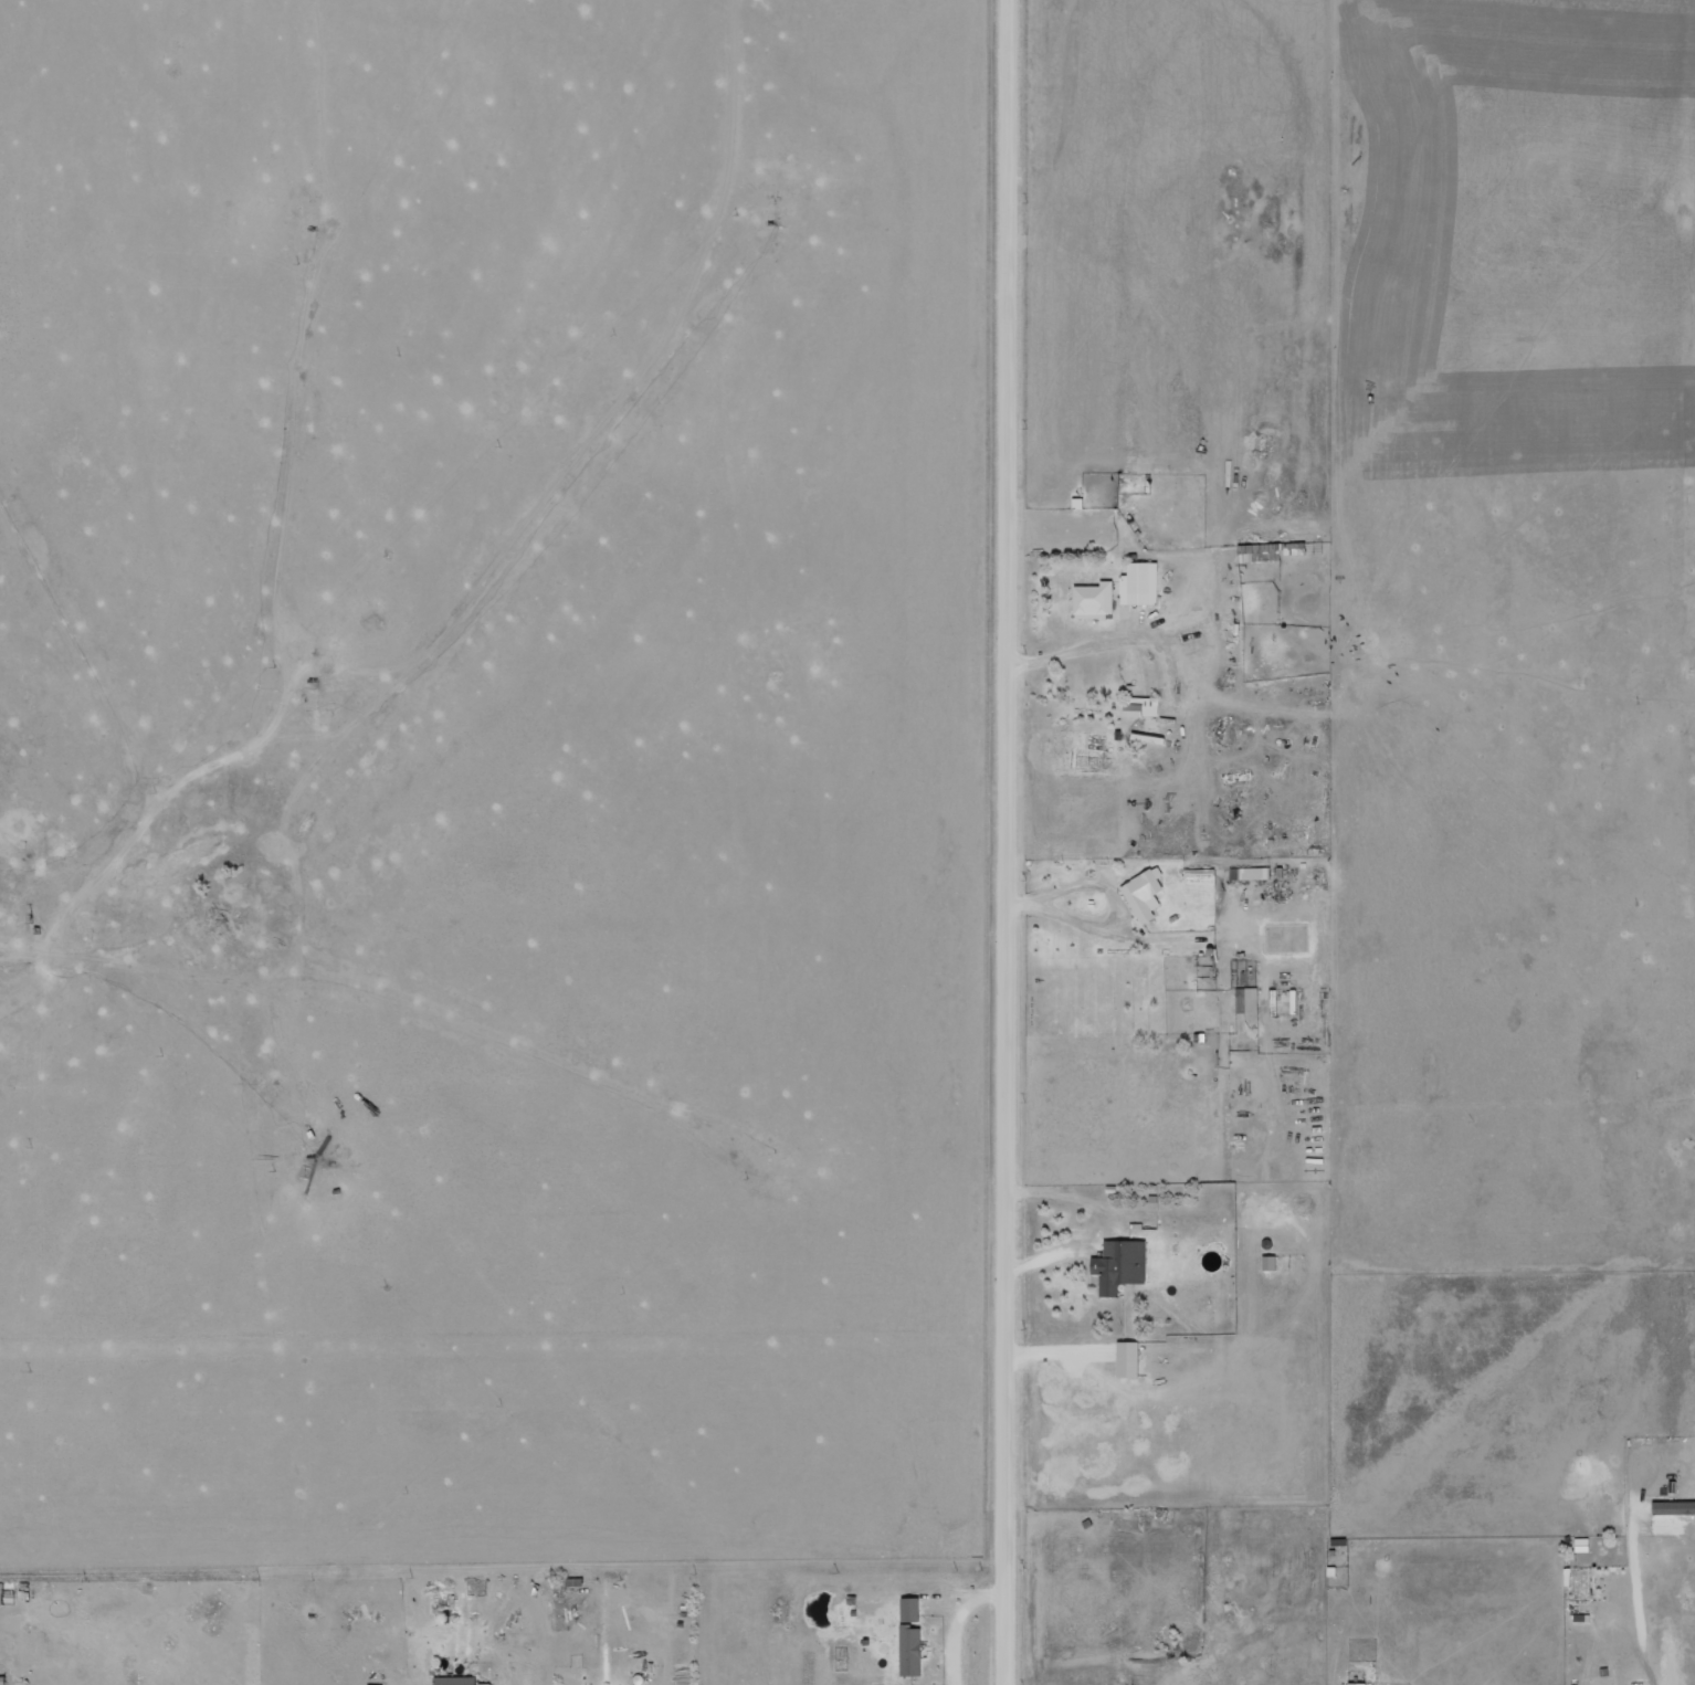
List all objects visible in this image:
building: (1140, 583)
building: (1095, 600)
building: (1141, 706)
road: (1013, 842)
building: (1255, 873)
building: (1144, 893)
building: (1247, 1000)
building: (1120, 1264)
building: (1128, 1359)
building: (2, 1592)
building: (909, 1609)
building: (910, 1650)
building: (457, 1681)
building: (1357, 1683)

